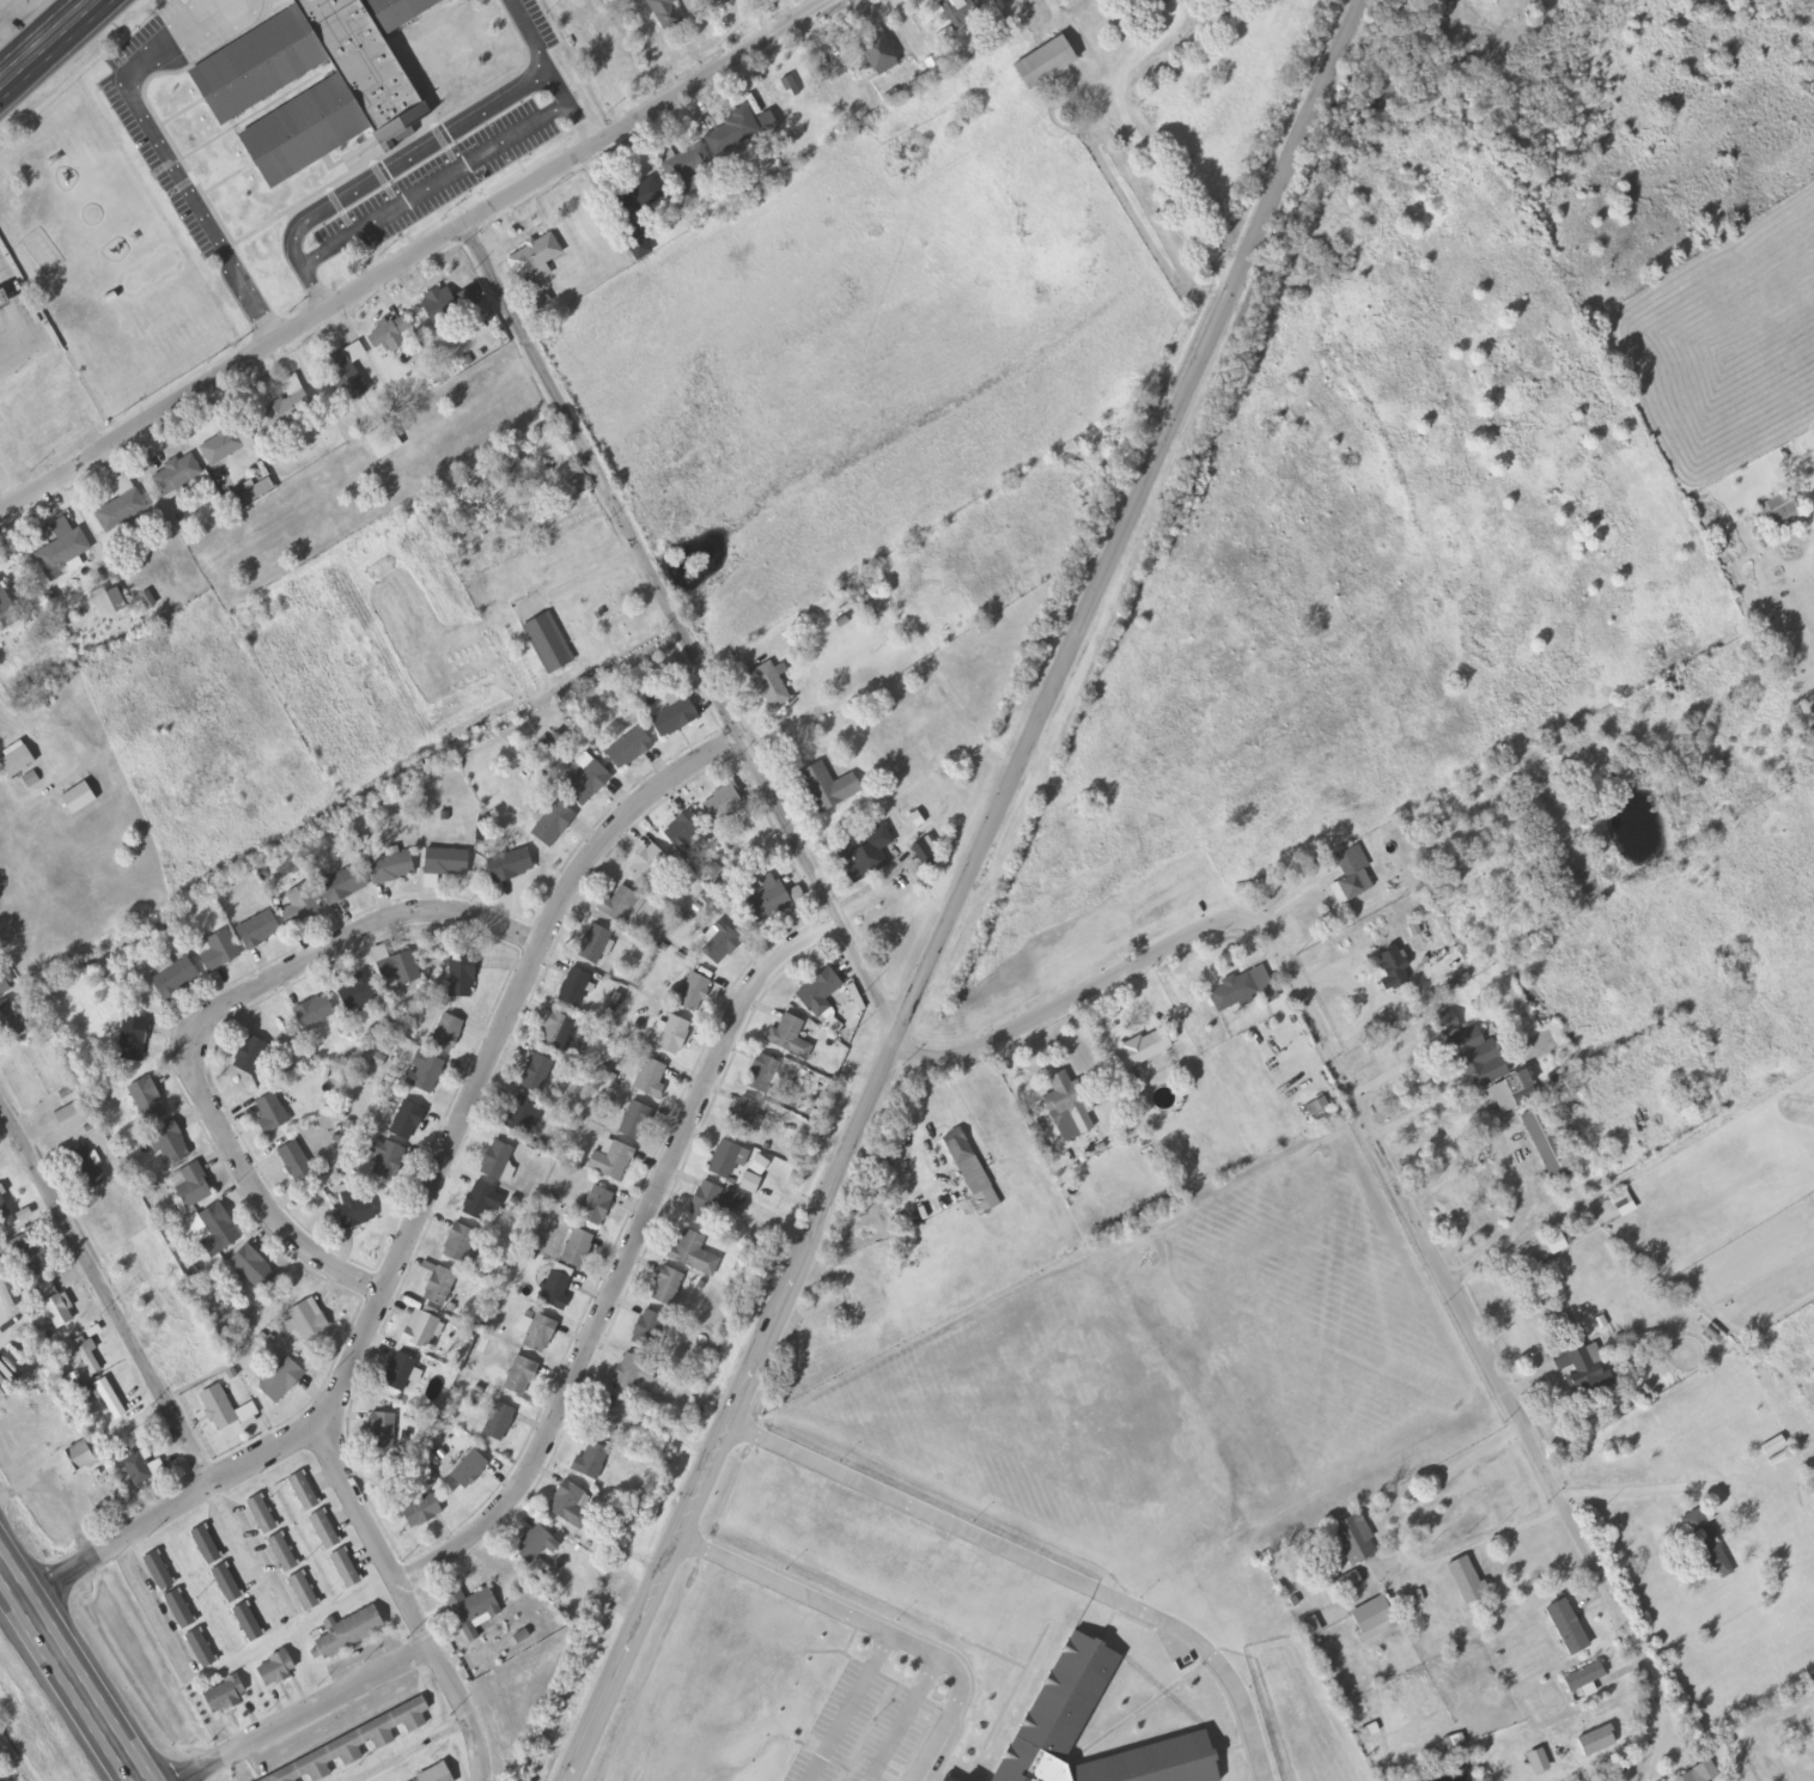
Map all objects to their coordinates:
building: (720, 2)
building: (1157, 2)
building: (397, 11)
building: (962, 12)
building: (666, 13)
road: (373, 17)
parking lot: (541, 23)
parking lot: (141, 32)
road: (158, 34)
road: (530, 36)
road: (190, 39)
parking lot: (206, 45)
road: (51, 47)
building: (877, 53)
building: (1043, 62)
building: (363, 84)
building: (789, 84)
road: (144, 98)
road: (182, 110)
road: (250, 114)
road: (430, 120)
building: (730, 128)
road: (443, 142)
road: (421, 148)
road: (386, 151)
parking lot: (451, 154)
road: (340, 159)
building: (686, 162)
parking lot: (157, 168)
parking lot: (422, 171)
road: (226, 177)
road: (382, 178)
road: (432, 184)
parking lot: (453, 190)
parking lot: (390, 192)
building: (641, 193)
road: (337, 205)
road: (200, 209)
parking lot: (346, 218)
road: (413, 256)
building: (534, 268)
building: (442, 308)
building: (390, 330)
building: (342, 375)
building: (284, 408)
building: (39, 412)
building: (384, 440)
building: (220, 444)
building: (4, 457)
building: (1073, 461)
building: (177, 473)
building: (516, 475)
building: (120, 509)
building: (1783, 512)
building: (62, 553)
building: (859, 586)
building: (5, 601)
building: (34, 601)
building: (109, 602)
building: (548, 644)
building: (769, 687)
building: (675, 718)
building: (629, 749)
building: (17, 761)
building: (589, 784)
building: (829, 789)
building: (724, 806)
building: (553, 825)
building: (687, 834)
building: (865, 855)
building: (448, 863)
building: (649, 864)
building: (511, 867)
building: (392, 868)
building: (1350, 876)
building: (343, 886)
road: (972, 889)
building: (773, 899)
building: (302, 905)
building: (620, 906)
building: (258, 931)
building: (596, 946)
building: (722, 946)
building: (219, 952)
building: (397, 967)
building: (1393, 967)
building: (462, 977)
building: (177, 979)
building: (576, 989)
road: (1102, 990)
building: (359, 992)
building: (1231, 992)
building: (694, 993)
building: (820, 995)
building: (316, 1013)
road: (207, 1017)
building: (10, 1023)
building: (448, 1034)
building: (558, 1035)
building: (675, 1037)
building: (790, 1038)
building: (134, 1041)
building: (1145, 1050)
building: (251, 1056)
building: (1472, 1058)
building: (426, 1074)
building: (763, 1074)
building: (537, 1075)
building: (652, 1078)
building: (1502, 1098)
building: (148, 1102)
building: (1069, 1104)
building: (1317, 1110)
building: (273, 1116)
building: (523, 1116)
building: (744, 1117)
building: (72, 1119)
building: (408, 1122)
building: (637, 1122)
building: (1546, 1144)
building: (171, 1145)
building: (388, 1159)
building: (729, 1159)
building: (81, 1160)
building: (610, 1162)
building: (972, 1172)
building: (750, 1184)
building: (191, 1186)
building: (482, 1202)
building: (716, 1202)
road: (419, 1206)
building: (597, 1206)
building: (357, 1212)
building: (6, 1215)
building: (217, 1232)
building: (462, 1246)
building: (578, 1248)
building: (1540, 1251)
building: (693, 1253)
building: (31, 1256)
road: (634, 1257)
building: (138, 1264)
building: (255, 1269)
building: (440, 1287)
building: (668, 1287)
building: (558, 1288)
building: (55, 1305)
building: (310, 1319)
building: (647, 1330)
building: (424, 1331)
building: (540, 1335)
road: (138, 1354)
building: (89, 1357)
building: (1578, 1367)
building: (401, 1373)
building: (634, 1373)
building: (521, 1378)
building: (282, 1381)
building: (110, 1400)
building: (224, 1410)
building: (611, 1416)
building: (500, 1423)
building: (383, 1433)
building: (1130, 1453)
building: (84, 1457)
building: (592, 1463)
building: (470, 1470)
building: (138, 1471)
building: (99, 1477)
building: (304, 1493)
building: (568, 1506)
building: (424, 1513)
building: (262, 1515)
building: (324, 1531)
building: (1353, 1539)
building: (1134, 1540)
building: (536, 1545)
building: (1705, 1545)
building: (206, 1546)
building: (284, 1554)
road: (1047, 1563)
building: (346, 1570)
building: (159, 1573)
building: (1466, 1580)
building: (226, 1585)
building: (1341, 1586)
building: (304, 1593)
road: (419, 1600)
building: (474, 1609)
building: (181, 1611)
building: (1371, 1617)
building: (248, 1623)
road: (887, 1624)
building: (1565, 1627)
building: (349, 1633)
road: (175, 1649)
building: (201, 1649)
building: (276, 1670)
road: (67, 1673)
building: (1581, 1678)
building: (225, 1696)
building: (1085, 1696)
road: (859, 1706)
road: (317, 1712)
road: (917, 1718)
building: (1595, 1742)
building: (351, 1747)
building: (1698, 1774)
building: (439, 1776)

